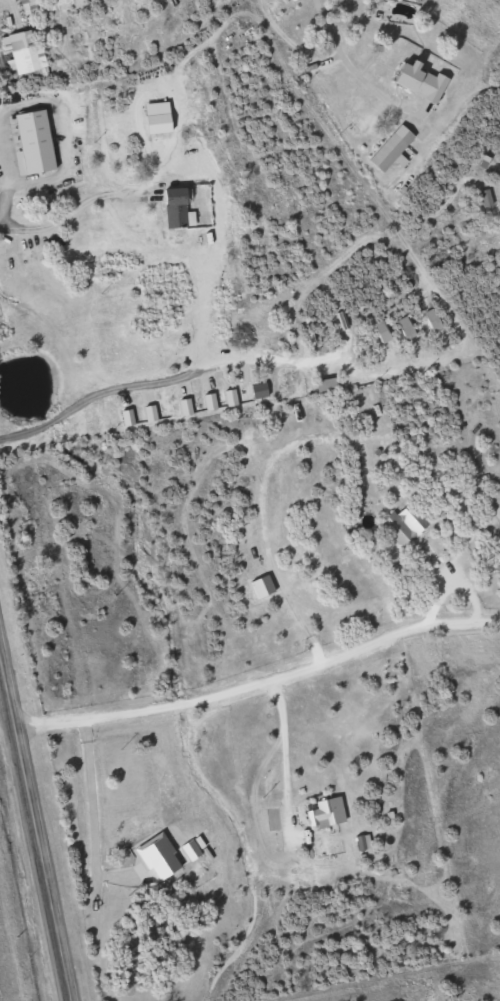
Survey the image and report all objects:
building: (28, 53)
building: (423, 81)
building: (161, 120)
building: (37, 144)
building: (394, 149)
road: (3, 178)
building: (482, 198)
building: (180, 209)
road: (68, 214)
building: (499, 219)
building: (401, 525)
road: (259, 681)
building: (321, 812)
road: (33, 835)

